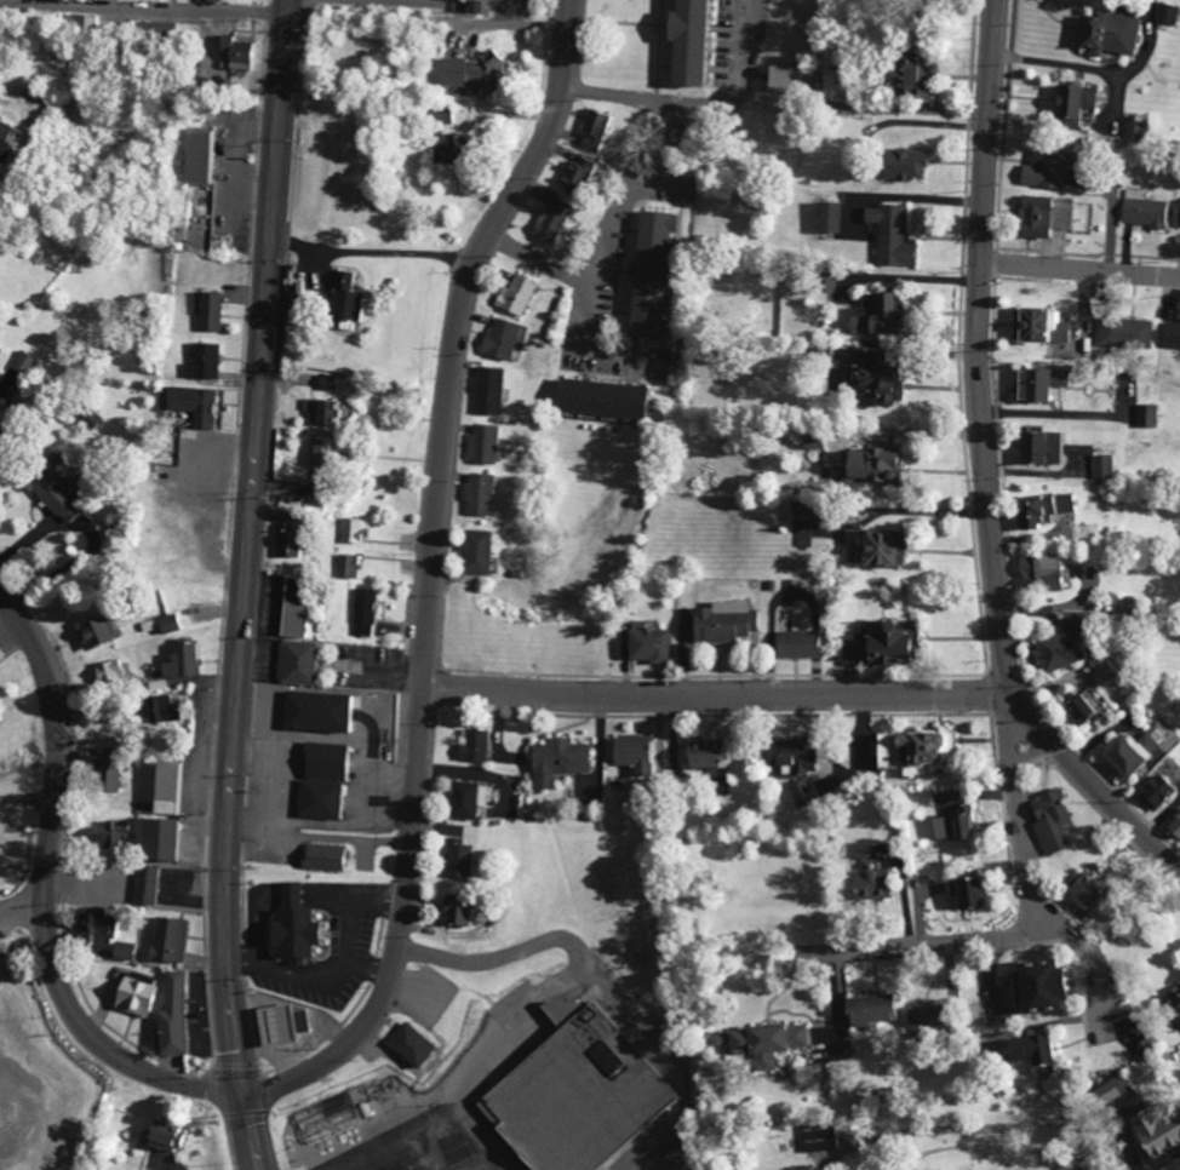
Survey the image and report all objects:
road: (195, 5)
road: (285, 13)
building: (1167, 13)
building: (82, 19)
building: (159, 29)
building: (1107, 33)
building: (682, 41)
building: (234, 53)
road: (1101, 70)
building: (471, 74)
building: (779, 78)
building: (1086, 97)
road: (697, 104)
building: (1064, 104)
building: (1084, 113)
building: (441, 115)
building: (595, 127)
building: (1134, 130)
building: (7, 140)
building: (449, 148)
building: (199, 156)
building: (899, 164)
building: (1043, 168)
building: (580, 172)
road: (632, 189)
building: (1144, 210)
building: (550, 213)
building: (1178, 213)
building: (829, 216)
building: (1032, 216)
building: (1062, 217)
building: (890, 235)
road: (376, 251)
road: (544, 258)
road: (1084, 271)
building: (647, 274)
road: (922, 279)
building: (515, 296)
building: (346, 297)
building: (210, 311)
building: (1039, 326)
building: (1123, 332)
building: (1172, 335)
building: (500, 338)
building: (204, 361)
building: (331, 382)
building: (871, 384)
building: (1038, 384)
road: (4, 388)
building: (488, 390)
building: (602, 398)
building: (193, 405)
building: (323, 409)
building: (88, 415)
building: (1146, 415)
road: (911, 432)
building: (483, 443)
building: (1039, 447)
building: (323, 452)
building: (864, 466)
building: (1102, 466)
road: (992, 468)
building: (52, 487)
building: (480, 494)
building: (1039, 509)
building: (801, 510)
road: (916, 511)
building: (357, 530)
road: (94, 537)
building: (286, 540)
building: (873, 547)
building: (477, 551)
building: (354, 566)
road: (436, 577)
road: (247, 585)
building: (294, 609)
building: (366, 612)
building: (722, 621)
building: (168, 623)
building: (94, 630)
building: (796, 643)
building: (878, 643)
building: (643, 644)
building: (1058, 652)
building: (181, 660)
building: (296, 661)
building: (109, 672)
road: (721, 690)
building: (1078, 707)
building: (160, 709)
park: (24, 719)
building: (472, 746)
road: (1036, 749)
building: (910, 750)
building: (1125, 752)
building: (631, 753)
building: (704, 755)
building: (787, 756)
building: (557, 761)
building: (104, 775)
building: (321, 780)
building: (165, 787)
building: (1152, 791)
building: (800, 793)
building: (465, 799)
building: (1050, 821)
building: (951, 825)
building: (1174, 825)
building: (110, 833)
building: (156, 839)
building: (322, 856)
road: (1033, 856)
building: (458, 859)
building: (869, 884)
building: (147, 885)
road: (51, 888)
building: (1083, 888)
building: (961, 891)
road: (24, 906)
building: (456, 911)
building: (291, 927)
building: (102, 936)
road: (946, 937)
building: (168, 940)
road: (582, 960)
building: (1029, 988)
building: (1172, 1003)
building: (865, 1010)
building: (172, 1016)
building: (921, 1017)
building: (279, 1023)
building: (766, 1043)
building: (409, 1044)
building: (1027, 1051)
building: (1110, 1089)
building: (573, 1094)
building: (331, 1117)
building: (1153, 1130)
building: (818, 1136)
building: (166, 1137)
road: (396, 1139)
road: (487, 1139)

